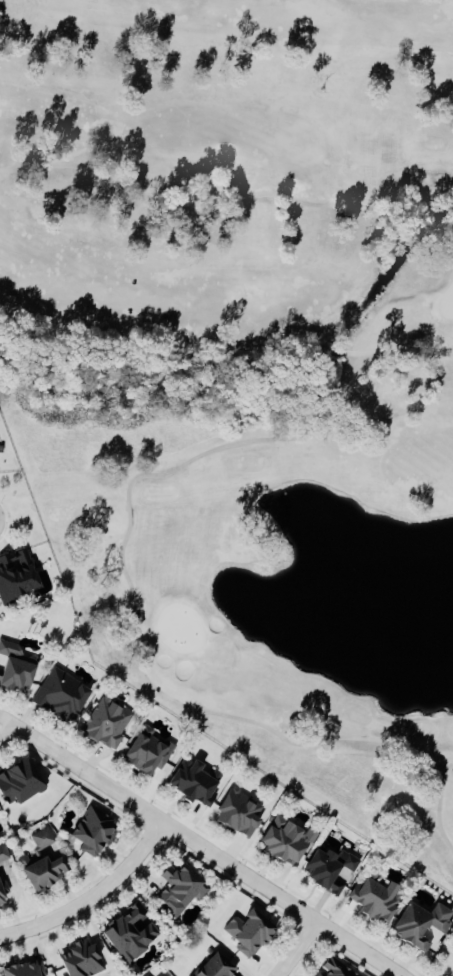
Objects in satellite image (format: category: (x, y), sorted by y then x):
park: (246, 374)
road: (0, 522)
building: (15, 575)
building: (12, 668)
building: (57, 696)
building: (105, 724)
building: (145, 751)
building: (192, 782)
building: (16, 783)
building: (236, 813)
building: (91, 831)
building: (40, 837)
building: (282, 840)
road: (201, 846)
building: (326, 868)
building: (39, 869)
building: (178, 889)
road: (94, 898)
building: (371, 898)
building: (417, 924)
building: (128, 931)
building: (246, 932)
road: (298, 949)
building: (78, 959)
building: (212, 966)
building: (38, 967)
building: (332, 968)
building: (19, 969)
building: (144, 975)

